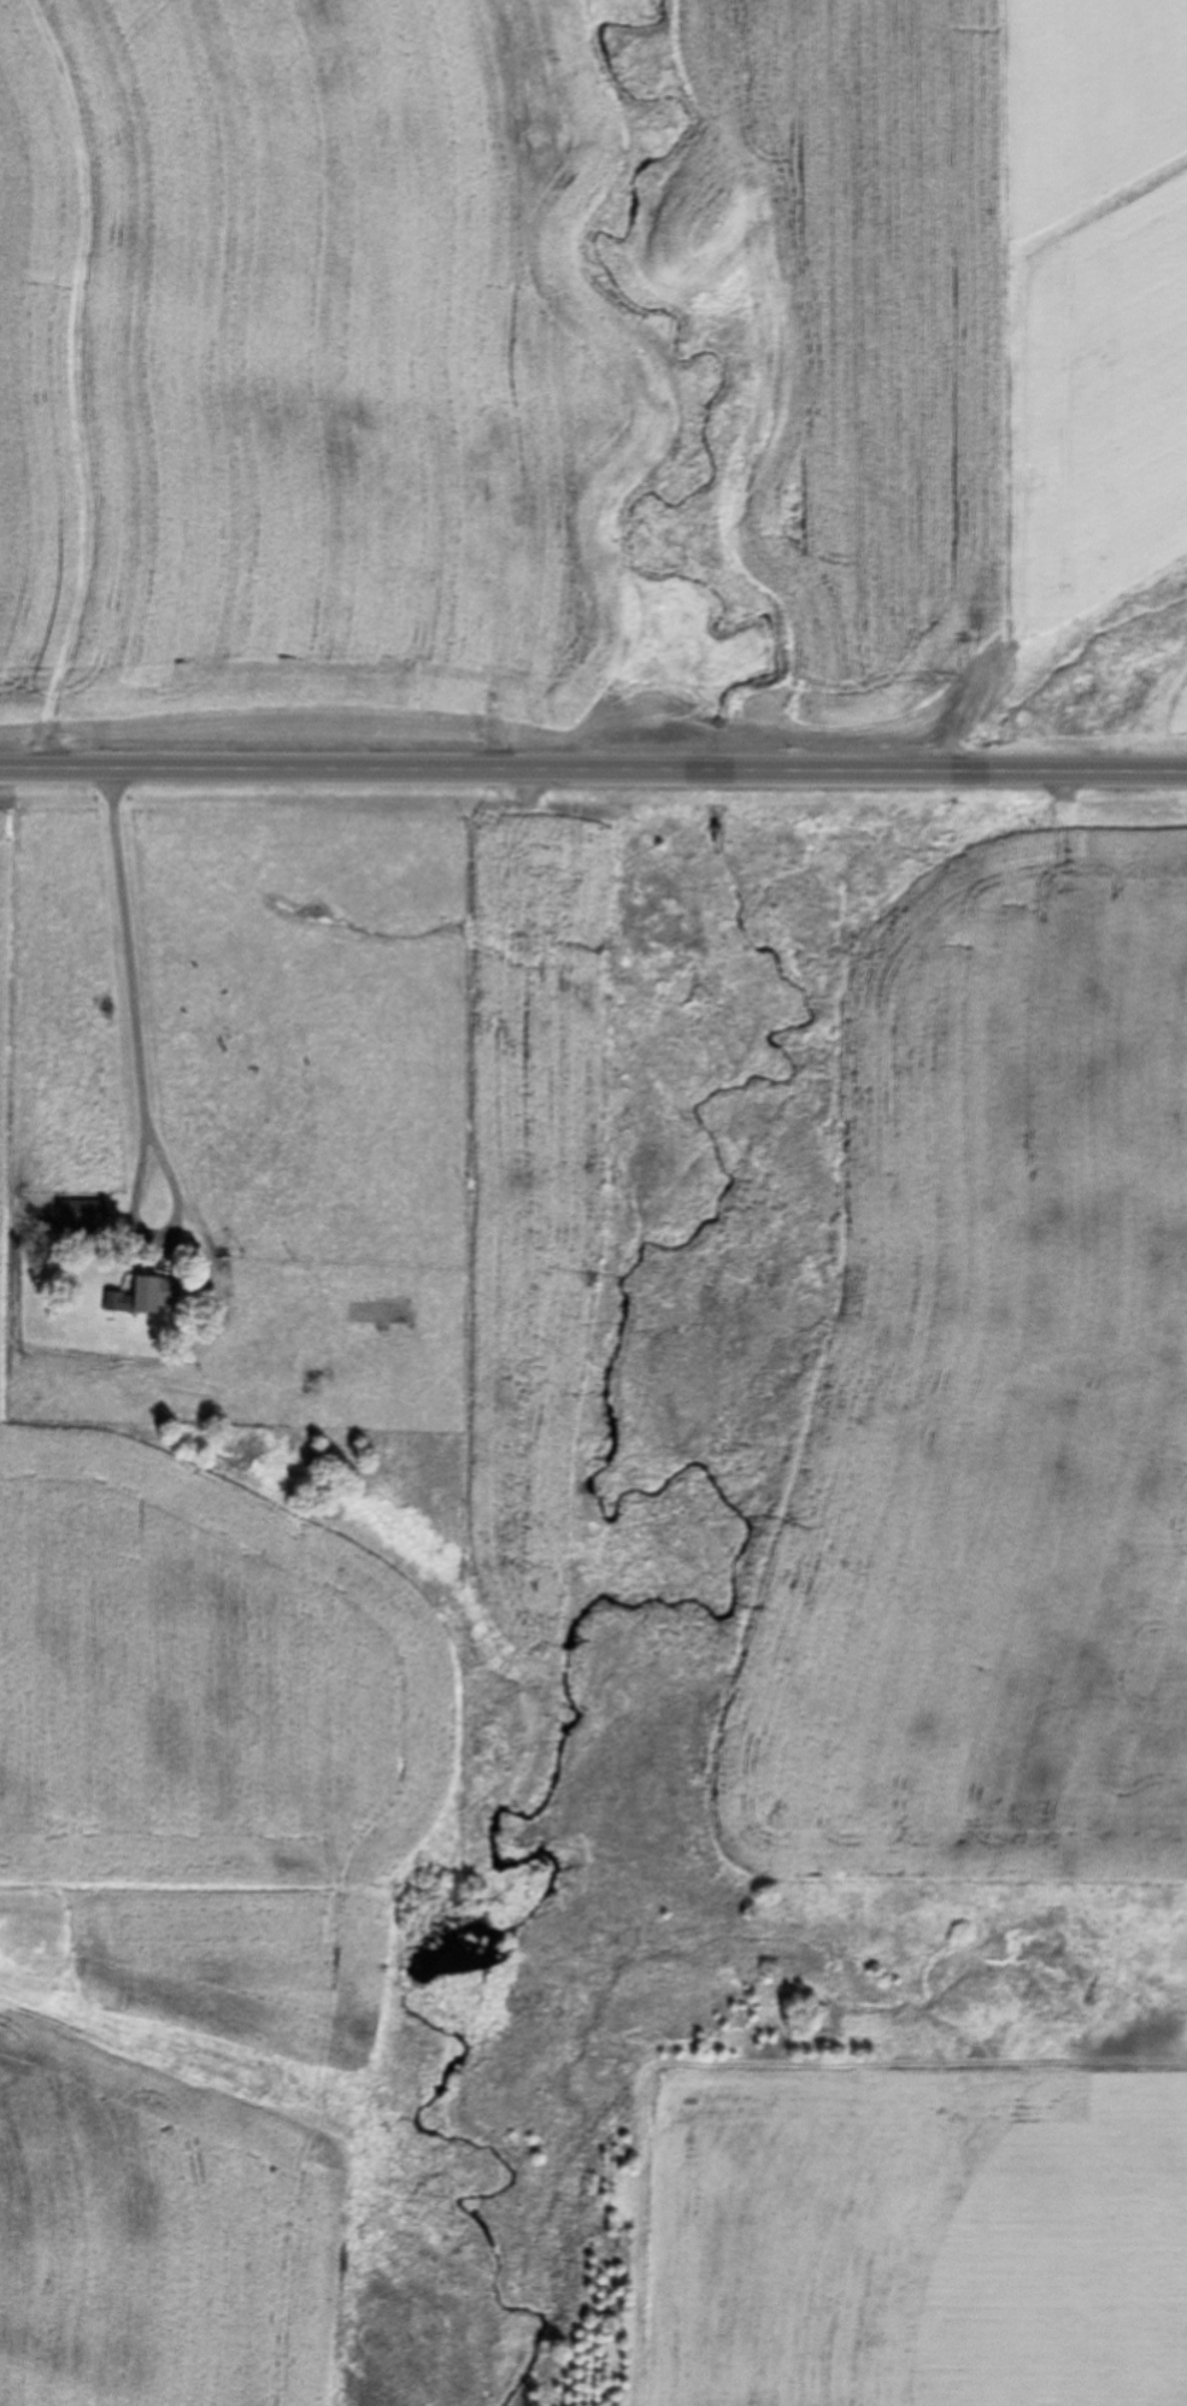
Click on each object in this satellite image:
road: (593, 771)
road: (130, 955)
building: (78, 1213)
building: (142, 1296)

